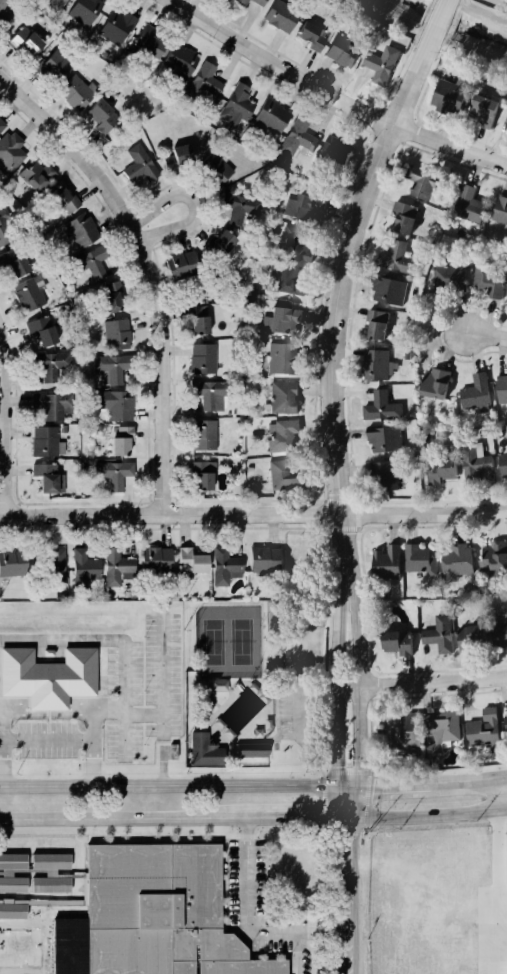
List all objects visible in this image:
building: (259, 2)
building: (240, 3)
building: (56, 5)
building: (84, 11)
building: (5, 15)
building: (281, 16)
building: (116, 27)
building: (312, 36)
building: (25, 41)
building: (150, 42)
building: (342, 51)
building: (180, 61)
building: (381, 64)
building: (54, 67)
building: (204, 84)
building: (77, 92)
road: (334, 95)
building: (448, 96)
building: (237, 105)
building: (484, 110)
building: (505, 114)
building: (102, 116)
building: (271, 117)
building: (1, 126)
building: (297, 137)
building: (334, 151)
building: (10, 152)
building: (179, 157)
building: (139, 164)
building: (216, 168)
building: (37, 176)
building: (423, 182)
building: (66, 200)
road: (194, 204)
building: (468, 205)
building: (240, 207)
building: (305, 207)
building: (499, 209)
building: (404, 216)
building: (6, 229)
building: (82, 231)
building: (298, 242)
building: (222, 243)
building: (396, 258)
building: (14, 262)
building: (93, 262)
building: (181, 264)
road: (147, 270)
building: (448, 277)
building: (290, 280)
building: (488, 280)
building: (506, 289)
building: (388, 290)
building: (29, 294)
building: (110, 297)
building: (506, 307)
building: (199, 320)
building: (281, 321)
building: (376, 323)
building: (43, 330)
road: (484, 332)
building: (117, 334)
building: (203, 358)
building: (282, 358)
building: (377, 364)
building: (52, 366)
building: (116, 369)
building: (434, 383)
road: (339, 386)
building: (500, 388)
building: (476, 393)
building: (210, 394)
building: (283, 397)
building: (53, 405)
building: (117, 405)
building: (381, 407)
road: (5, 431)
building: (204, 435)
building: (282, 435)
building: (384, 439)
building: (121, 440)
building: (46, 442)
building: (474, 461)
building: (502, 462)
building: (441, 470)
building: (384, 473)
building: (114, 474)
building: (283, 476)
building: (48, 478)
road: (253, 513)
road: (297, 527)
road: (320, 528)
road: (323, 556)
building: (493, 558)
building: (265, 559)
building: (419, 559)
building: (156, 560)
building: (191, 561)
building: (386, 561)
building: (456, 561)
building: (13, 563)
building: (56, 567)
building: (117, 567)
building: (225, 567)
building: (84, 568)
road: (308, 620)
road: (323, 632)
building: (499, 633)
building: (438, 634)
building: (471, 637)
park: (223, 642)
building: (397, 642)
road: (304, 660)
road: (260, 668)
park: (262, 673)
building: (50, 675)
road: (426, 681)
road: (263, 682)
road: (271, 687)
parking lot: (299, 688)
road: (325, 688)
road: (323, 689)
road: (275, 691)
road: (271, 692)
road: (297, 711)
road: (47, 712)
road: (137, 712)
road: (276, 714)
building: (506, 722)
road: (163, 724)
building: (483, 728)
building: (442, 730)
road: (323, 733)
building: (406, 734)
road: (272, 736)
road: (277, 736)
road: (263, 739)
road: (269, 740)
road: (49, 741)
building: (250, 749)
building: (203, 750)
road: (4, 751)
road: (320, 771)
road: (344, 771)
road: (467, 785)
road: (387, 789)
road: (173, 790)
traffic signals: (347, 790)
road: (323, 800)
road: (426, 815)
road: (130, 818)
road: (303, 818)
traffic signals: (345, 818)
road: (495, 855)
building: (7, 873)
building: (51, 873)
road: (346, 881)
building: (2, 911)
building: (28, 912)
building: (160, 912)
road: (253, 920)
road: (58, 954)
road: (296, 955)

